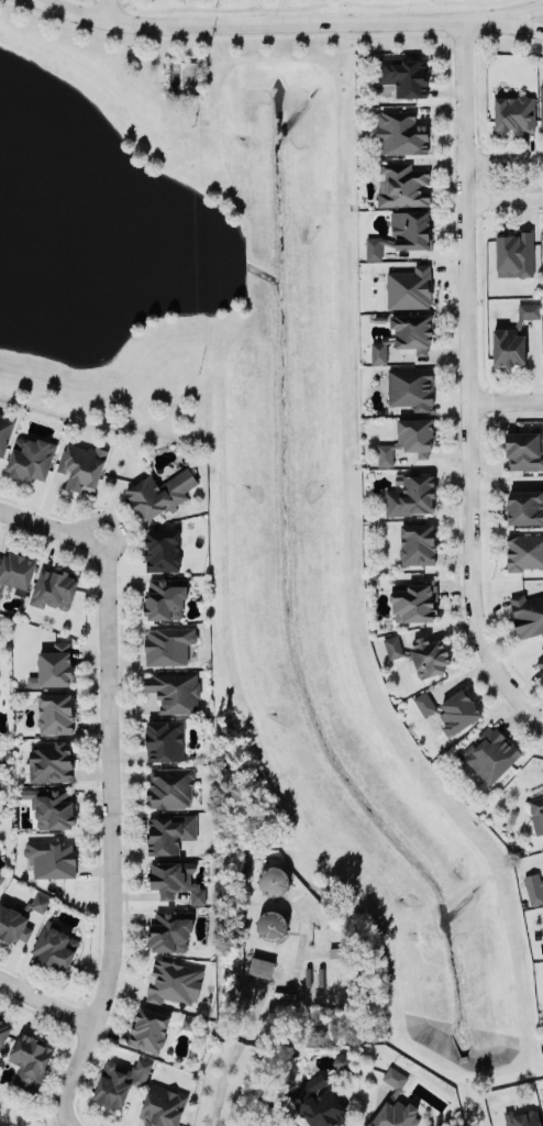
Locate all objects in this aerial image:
road: (473, 1)
road: (275, 8)
road: (110, 10)
road: (502, 14)
road: (250, 25)
road: (463, 25)
road: (502, 29)
building: (403, 76)
road: (476, 89)
building: (541, 107)
building: (512, 113)
building: (400, 132)
road: (503, 161)
road: (452, 179)
road: (477, 180)
road: (505, 200)
building: (402, 234)
building: (542, 243)
building: (513, 252)
building: (409, 288)
road: (481, 295)
building: (529, 310)
building: (405, 336)
building: (508, 347)
road: (469, 385)
building: (410, 387)
road: (507, 400)
road: (470, 401)
building: (0, 413)
building: (4, 432)
building: (409, 440)
building: (523, 451)
building: (31, 460)
building: (81, 466)
building: (160, 493)
building: (410, 496)
building: (524, 508)
road: (52, 527)
road: (487, 540)
building: (417, 544)
building: (160, 551)
building: (524, 551)
building: (15, 571)
building: (53, 588)
building: (0, 593)
building: (165, 599)
building: (414, 601)
building: (527, 614)
building: (168, 644)
building: (420, 654)
building: (540, 662)
building: (52, 667)
building: (174, 692)
building: (423, 703)
building: (457, 710)
building: (54, 714)
road: (95, 732)
building: (164, 740)
building: (490, 753)
building: (49, 761)
road: (122, 764)
building: (169, 787)
building: (536, 807)
building: (49, 808)
building: (168, 832)
road: (109, 837)
building: (542, 852)
building: (51, 859)
building: (1, 877)
building: (273, 880)
building: (174, 881)
building: (533, 887)
building: (18, 921)
building: (271, 924)
building: (170, 929)
building: (55, 947)
building: (261, 967)
building: (173, 981)
road: (41, 984)
road: (45, 1001)
road: (35, 1011)
road: (87, 1012)
building: (147, 1030)
building: (3, 1033)
building: (31, 1060)
building: (341, 1061)
road: (59, 1067)
building: (118, 1082)
building: (317, 1097)
building: (542, 1103)
building: (394, 1104)
building: (162, 1106)
building: (522, 1117)
road: (67, 1122)
road: (67, 1123)
building: (264, 1124)

